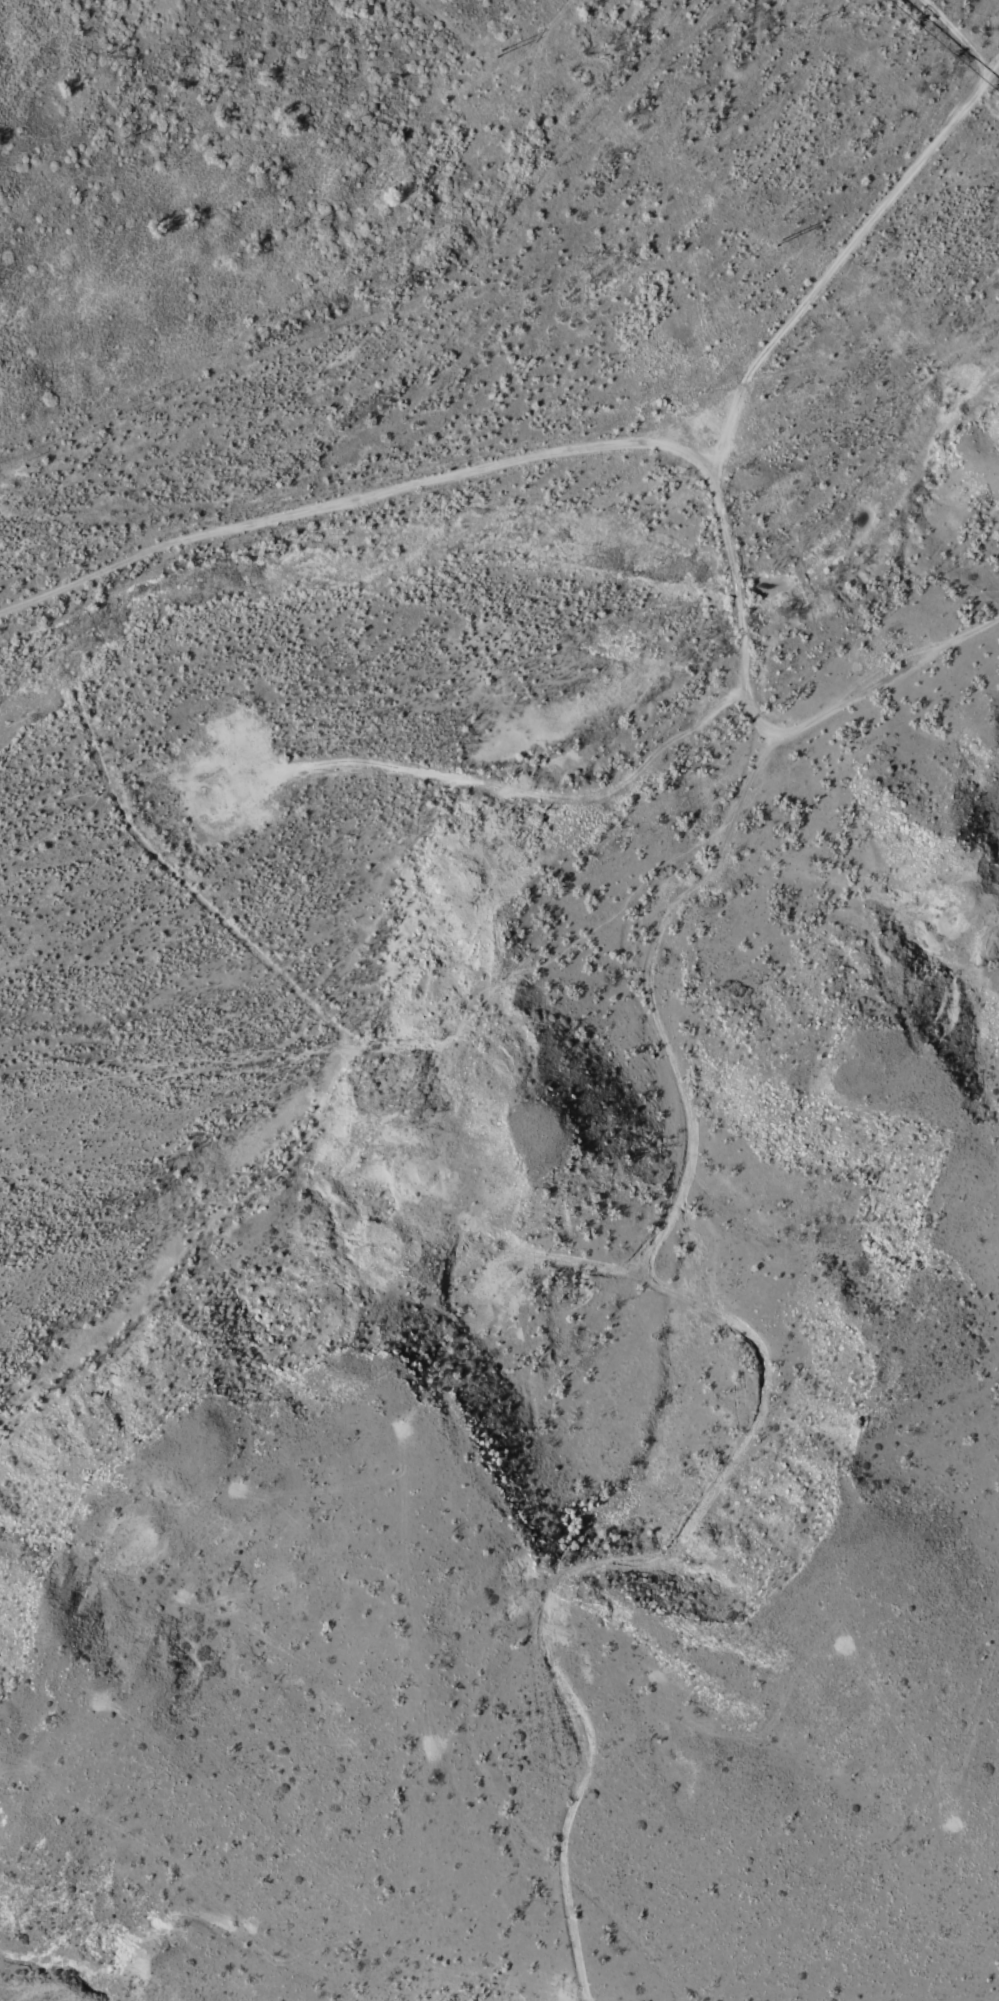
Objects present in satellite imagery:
power tower: (499, 52)
power tower: (779, 243)
river: (533, 551)

